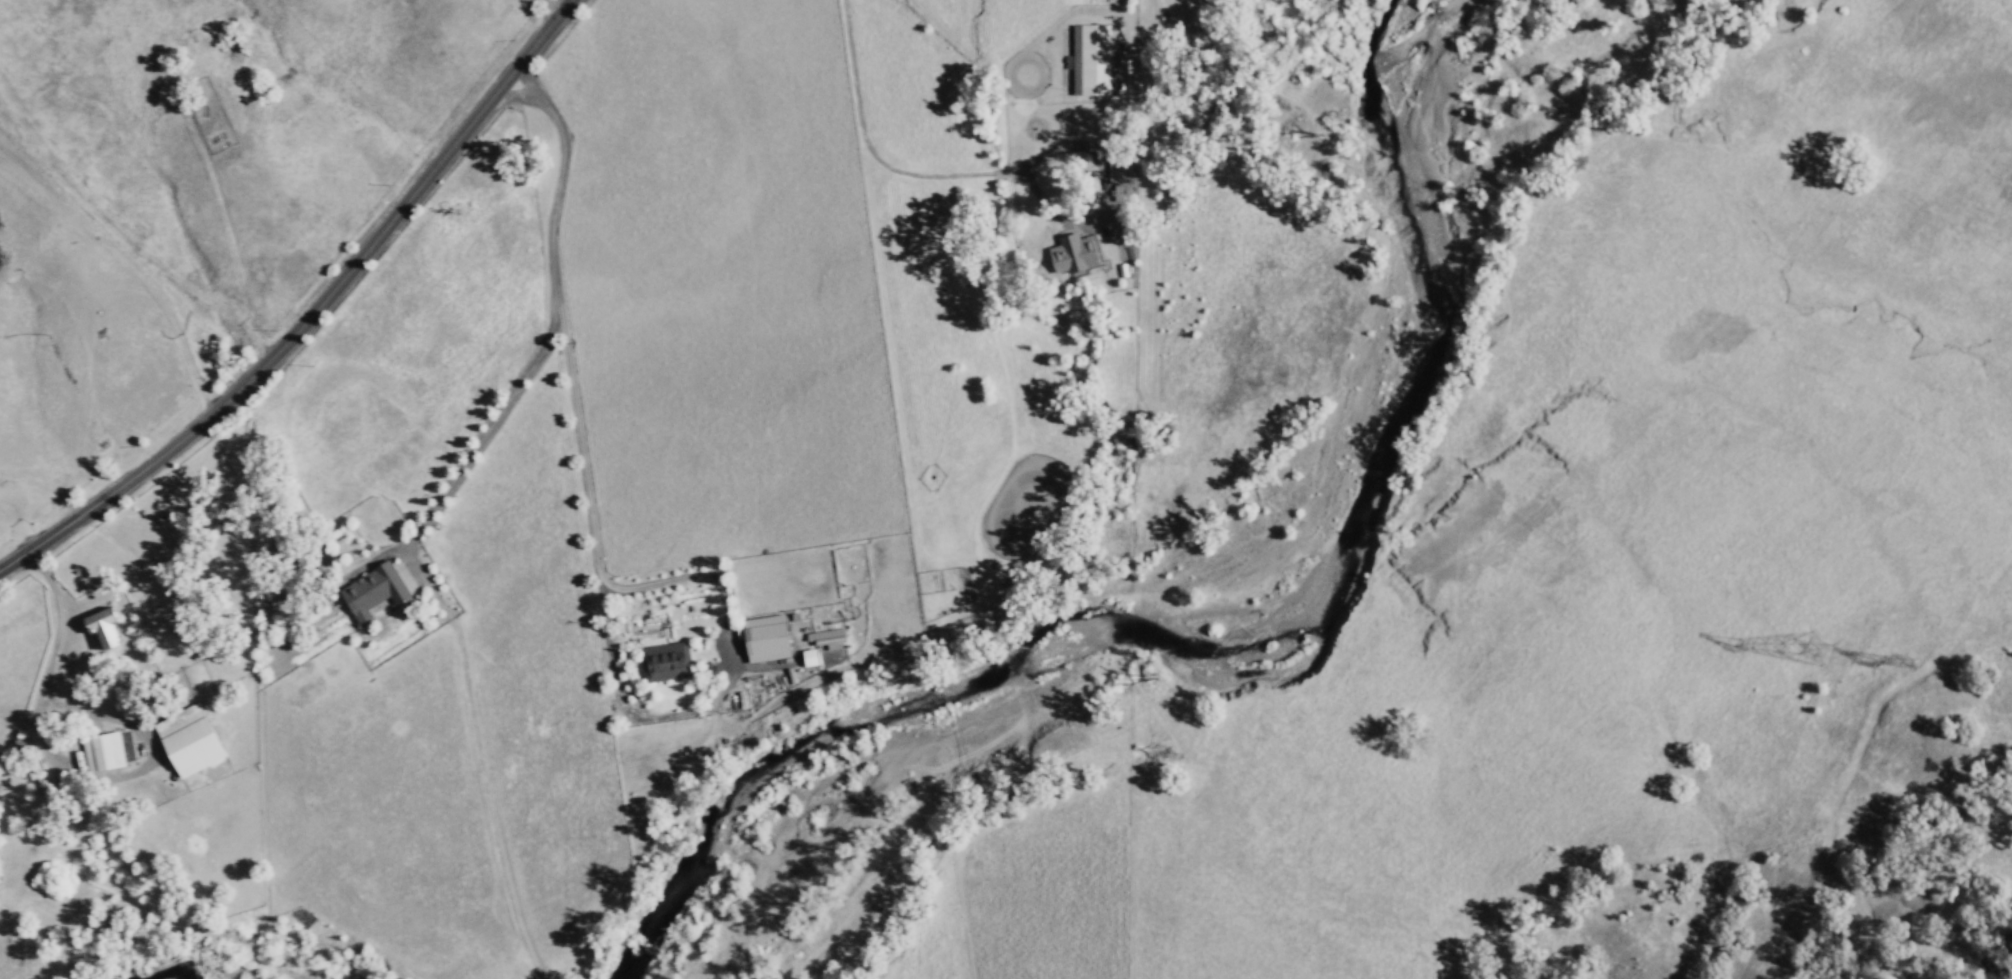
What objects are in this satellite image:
building: (1094, 60)
crop: (721, 282)
road: (312, 310)
river: (1373, 474)
road: (916, 518)
building: (373, 591)
building: (103, 626)
building: (828, 636)
building: (765, 638)
power tower: (1810, 651)
building: (809, 657)
building: (666, 662)
power tower: (1905, 663)
building: (189, 739)
building: (102, 751)
river: (766, 756)
river: (198, 967)

